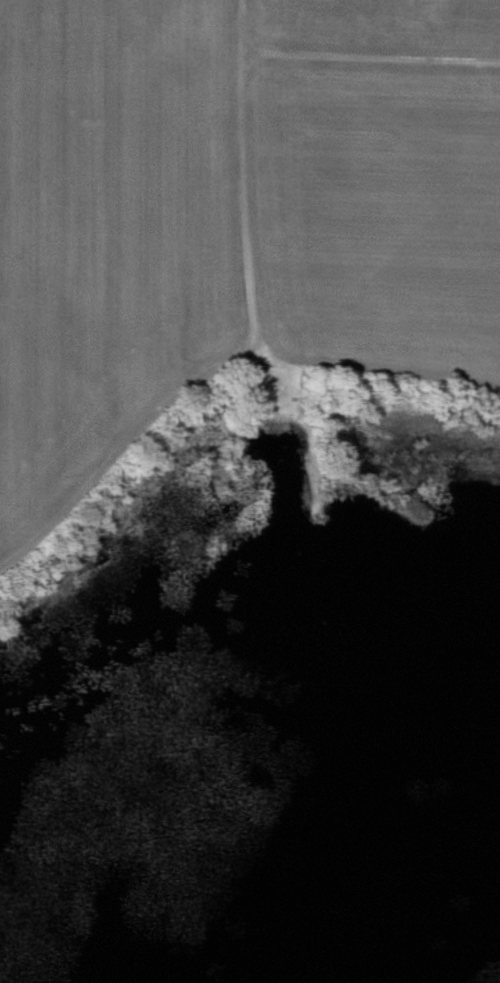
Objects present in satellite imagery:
road: (370, 55)

